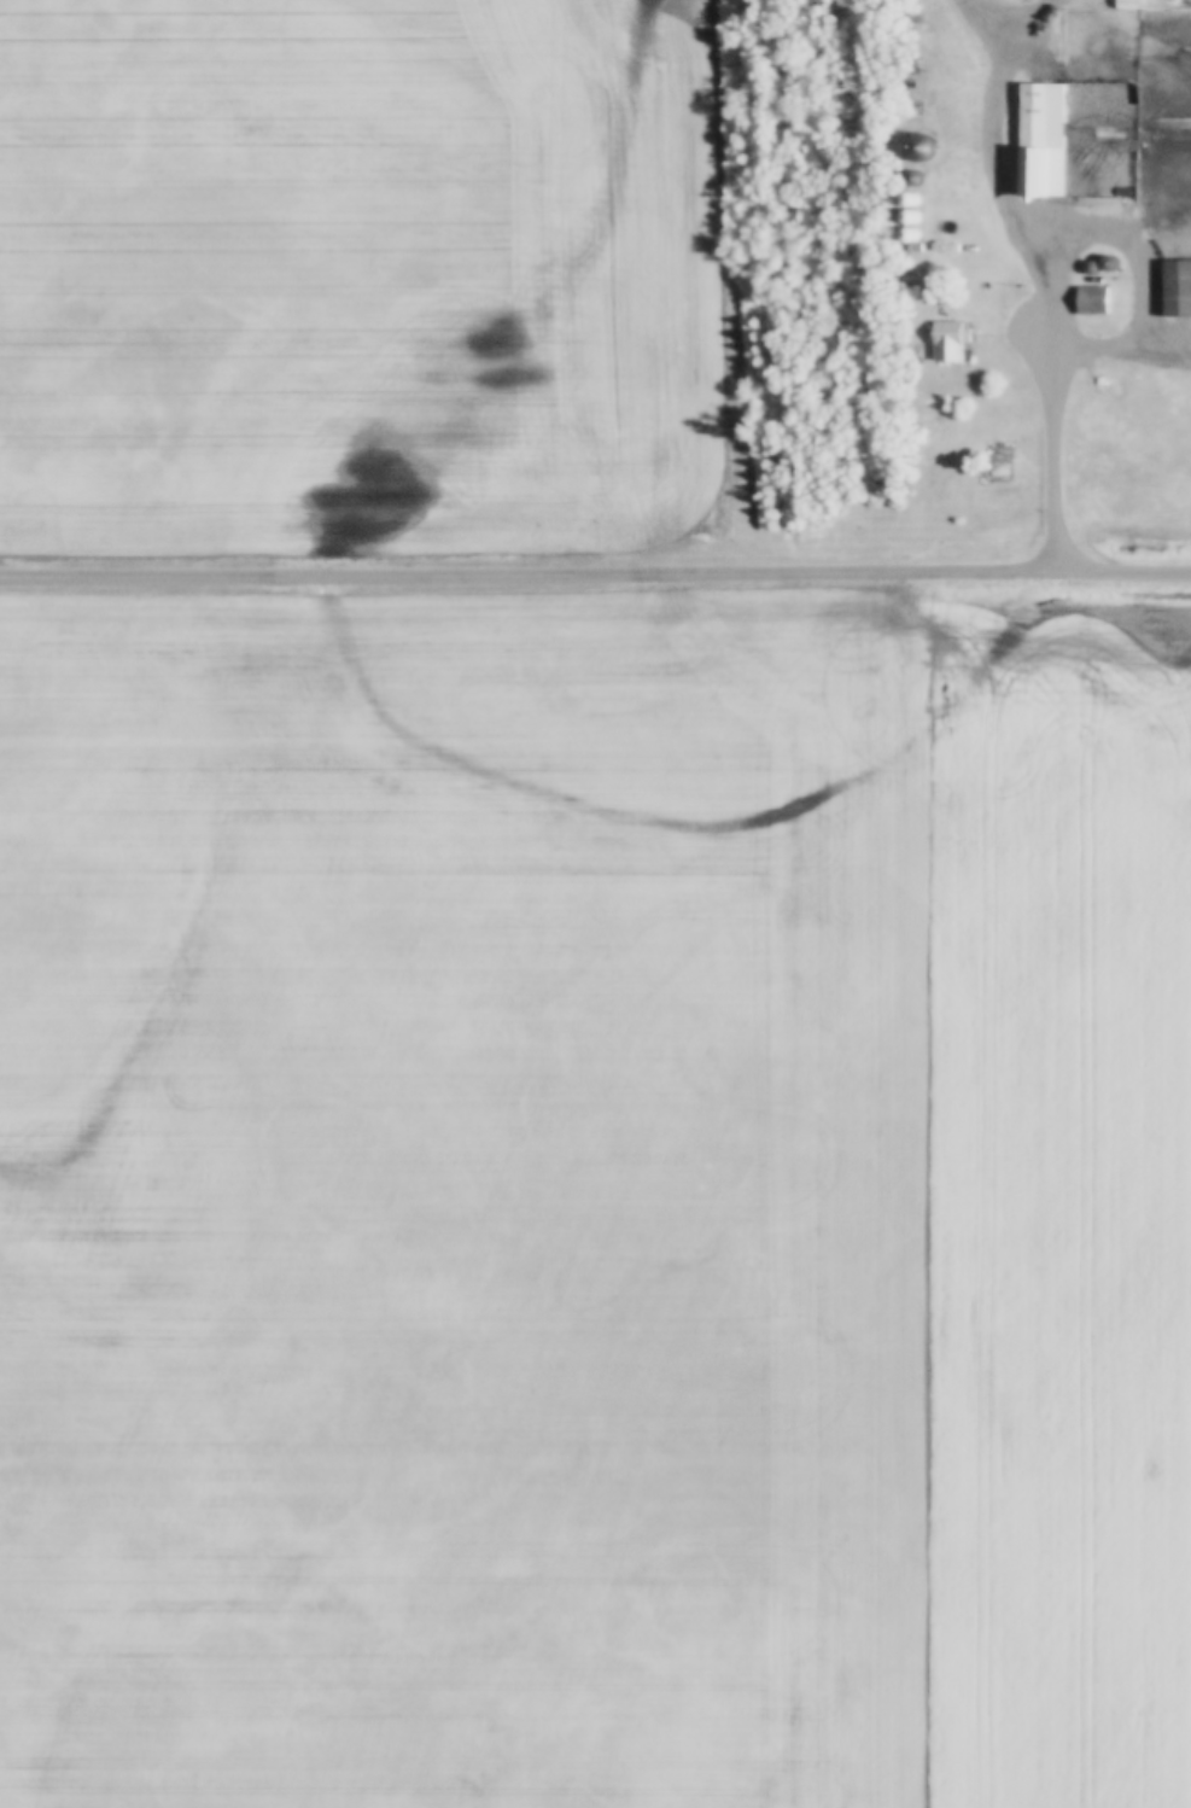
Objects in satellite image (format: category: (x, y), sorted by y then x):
building: (1179, 5)
building: (1128, 6)
road: (993, 29)
building: (1041, 144)
building: (1177, 291)
building: (1092, 303)
road: (1047, 315)
building: (948, 344)
road: (1133, 571)
road: (537, 575)

